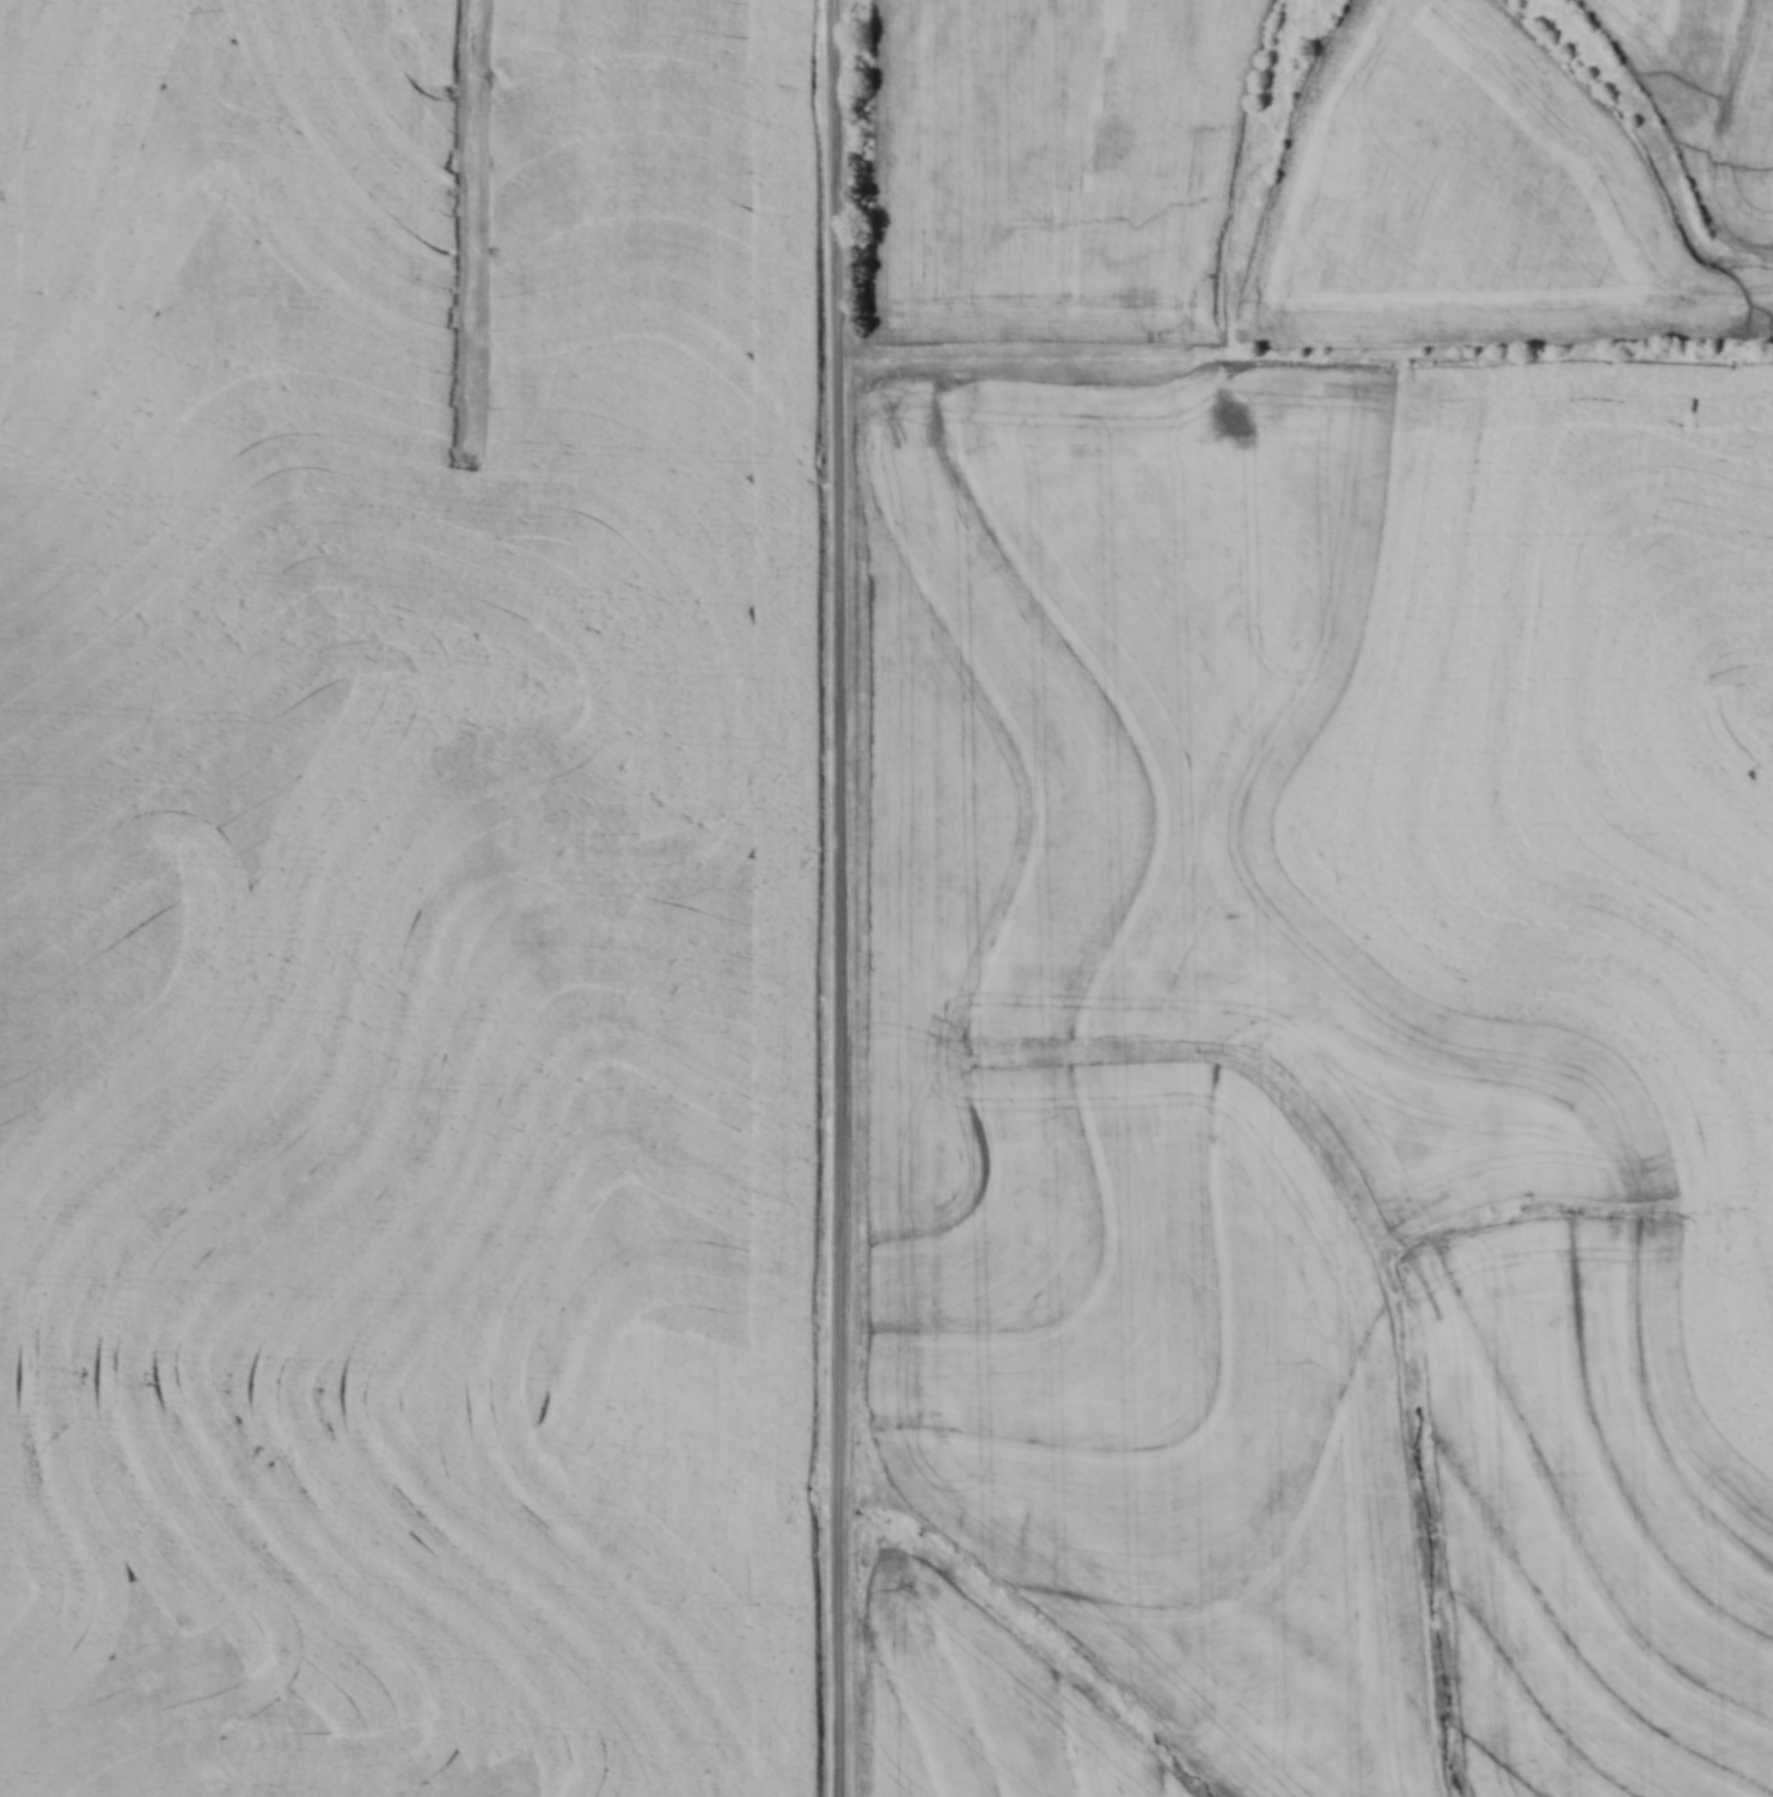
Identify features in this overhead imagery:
road: (846, 898)

